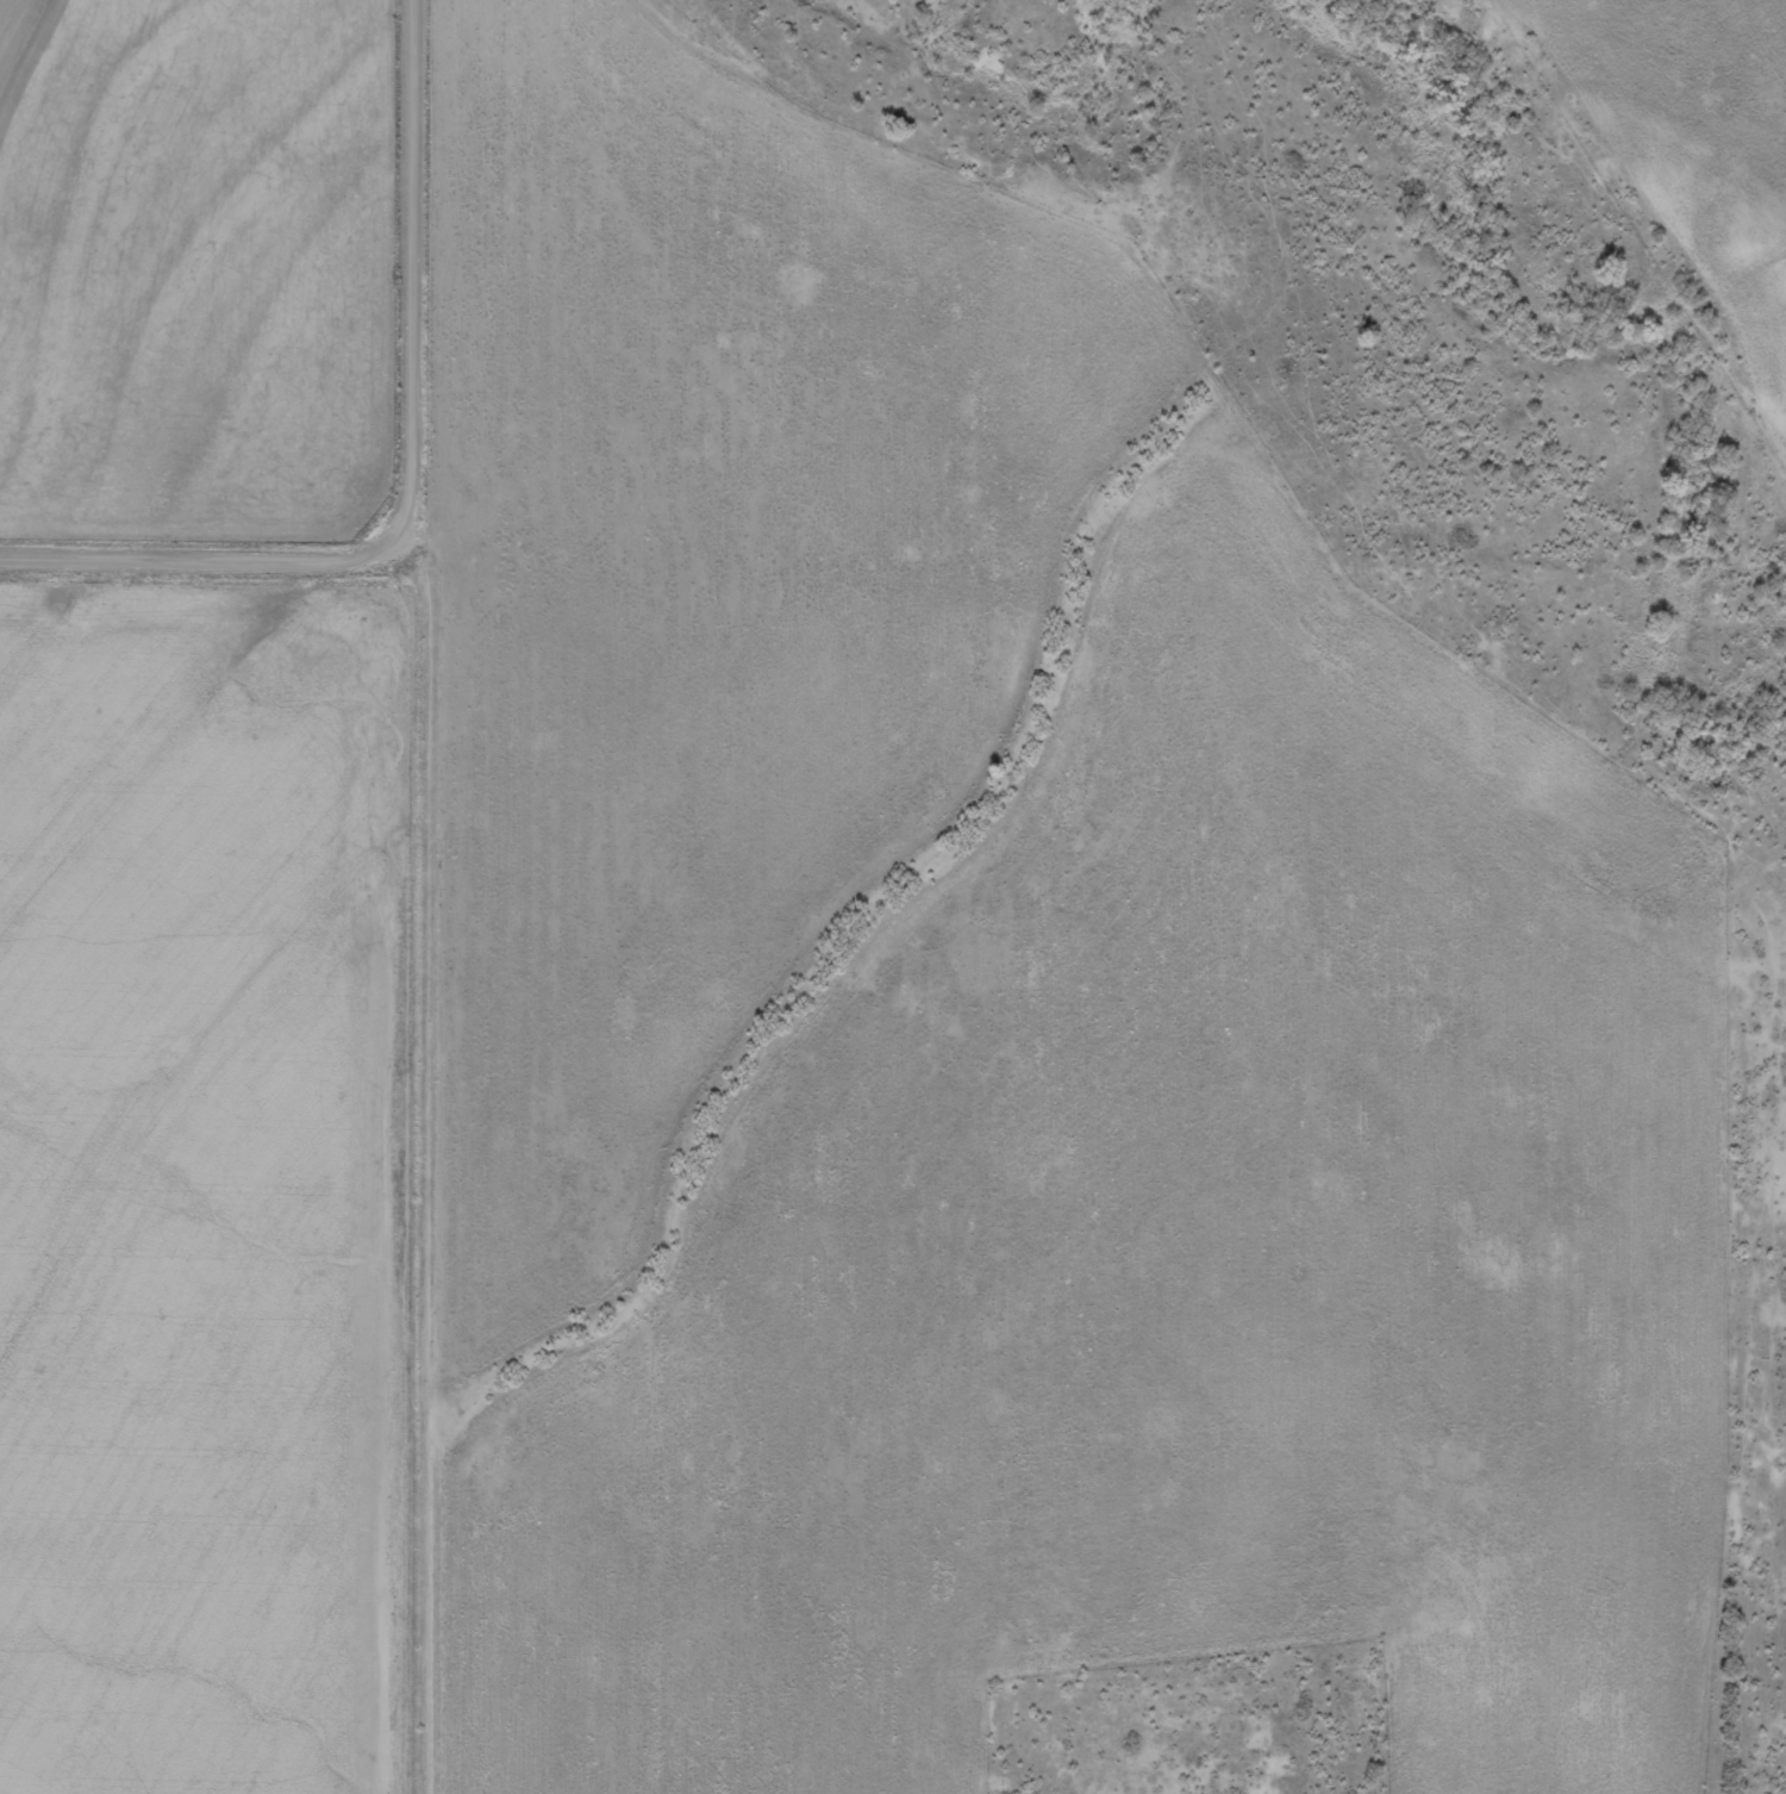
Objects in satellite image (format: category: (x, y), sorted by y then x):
road: (412, 467)

